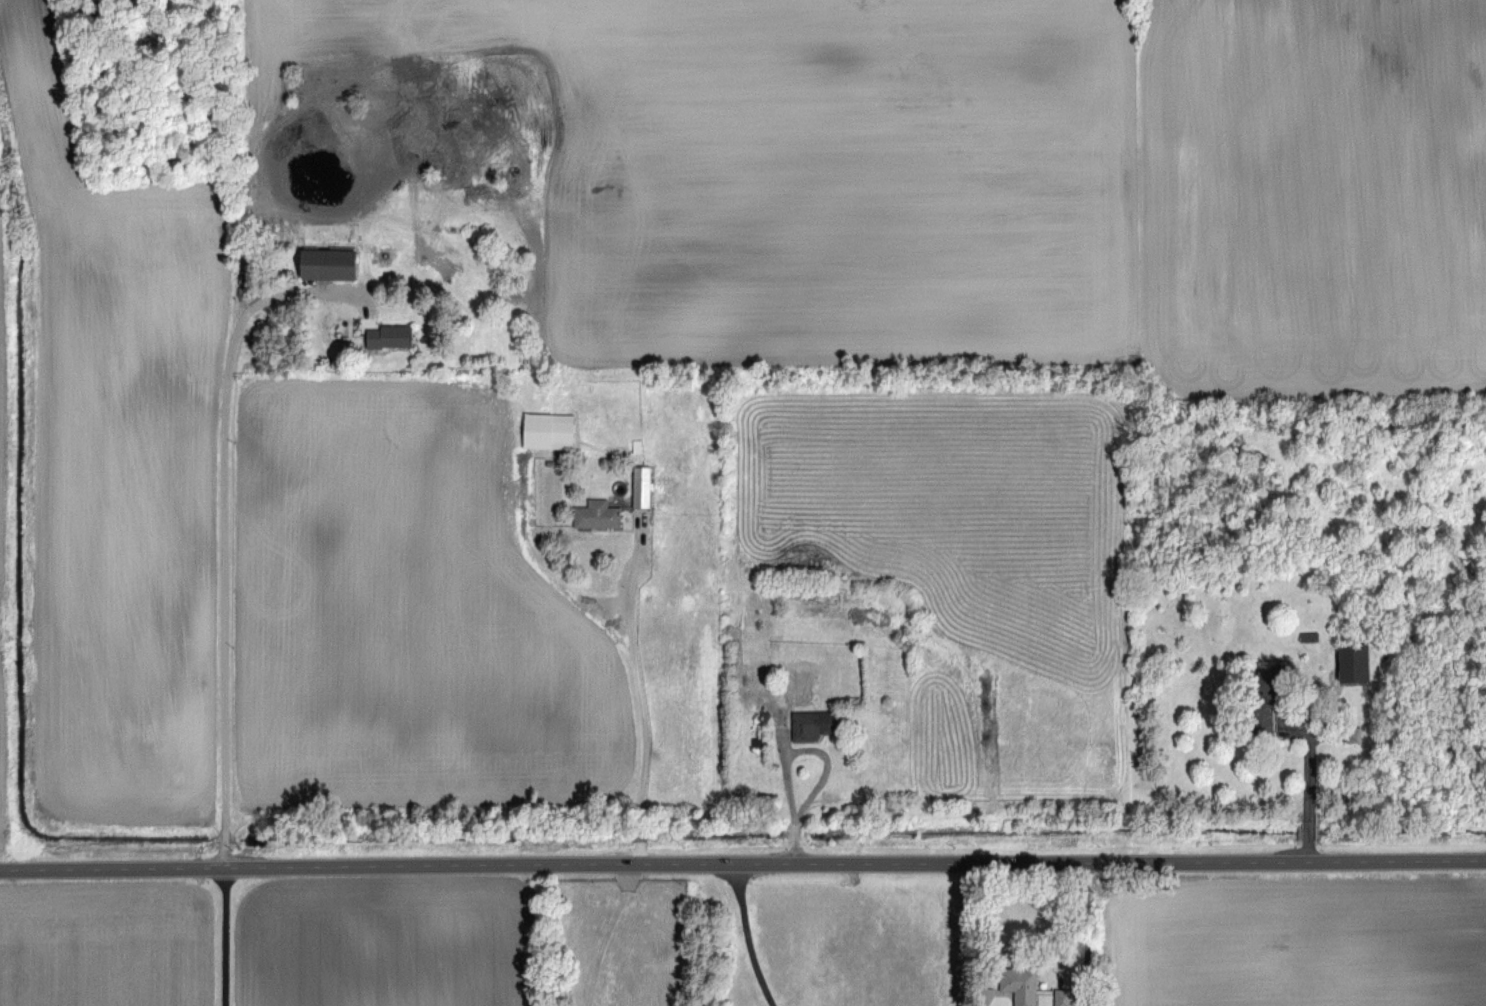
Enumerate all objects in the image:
building: (328, 263)
building: (389, 335)
building: (548, 430)
road: (225, 530)
building: (1352, 663)
road: (639, 702)
building: (1262, 713)
building: (815, 723)
road: (1308, 757)
road: (826, 760)
road: (1308, 825)
road: (1307, 850)
road: (742, 862)
road: (608, 933)
road: (228, 935)
road: (745, 936)
road: (1069, 971)
building: (1025, 993)
building: (1062, 997)

